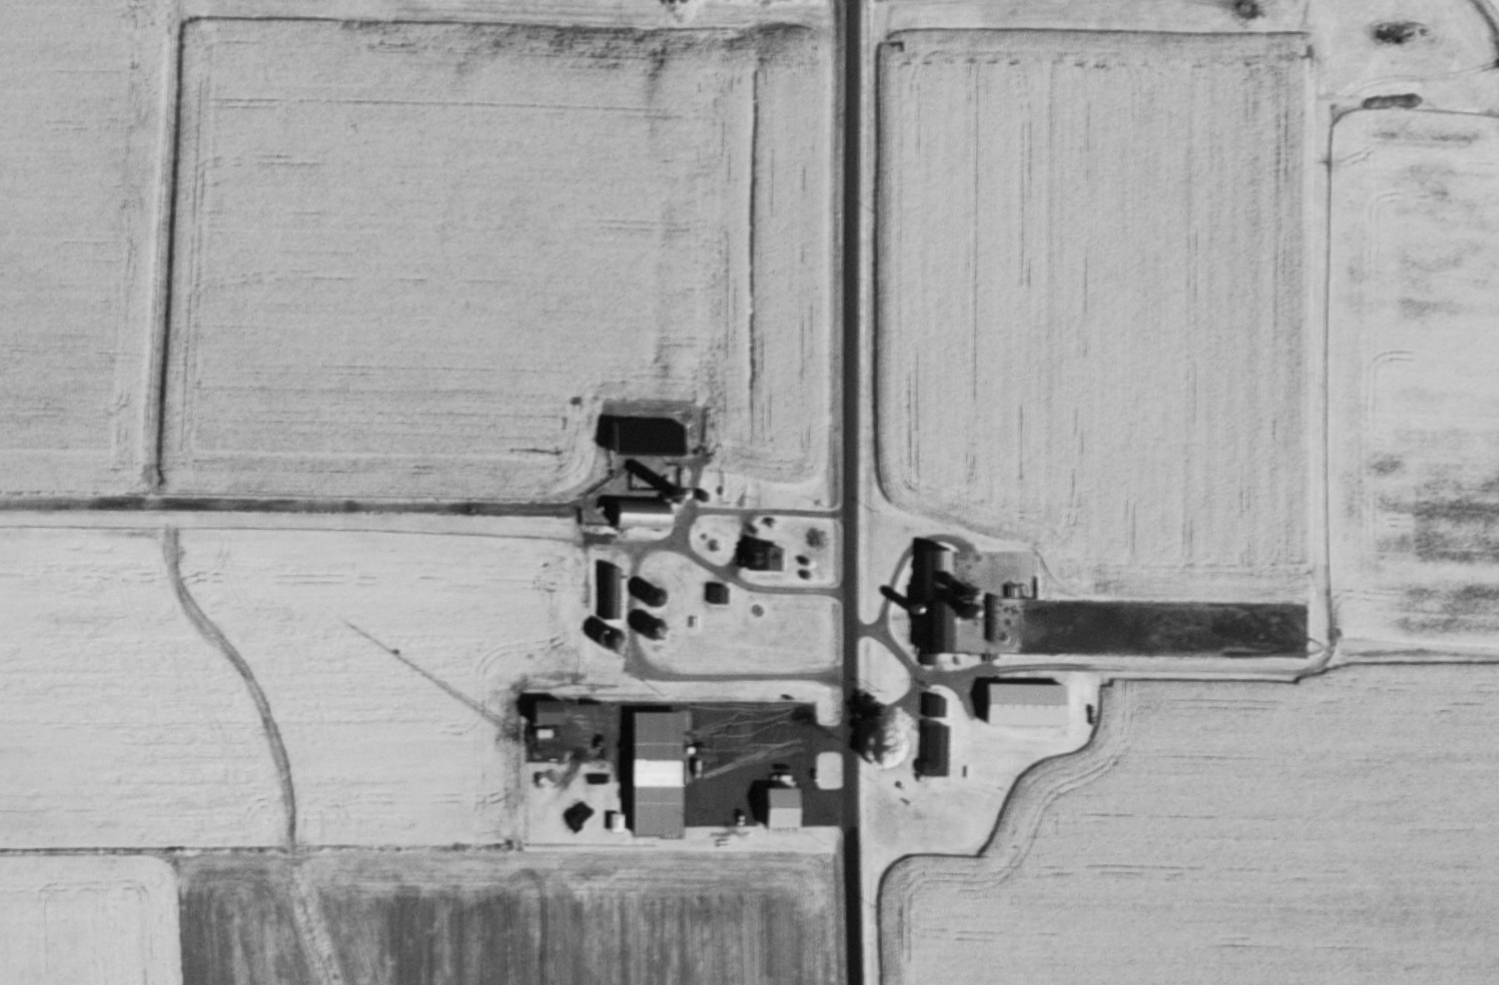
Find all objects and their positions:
road: (853, 492)
building: (643, 514)
building: (766, 558)
building: (612, 593)
building: (720, 595)
building: (655, 597)
building: (938, 607)
building: (653, 628)
building: (1026, 705)
building: (937, 751)
building: (657, 773)
building: (781, 808)

